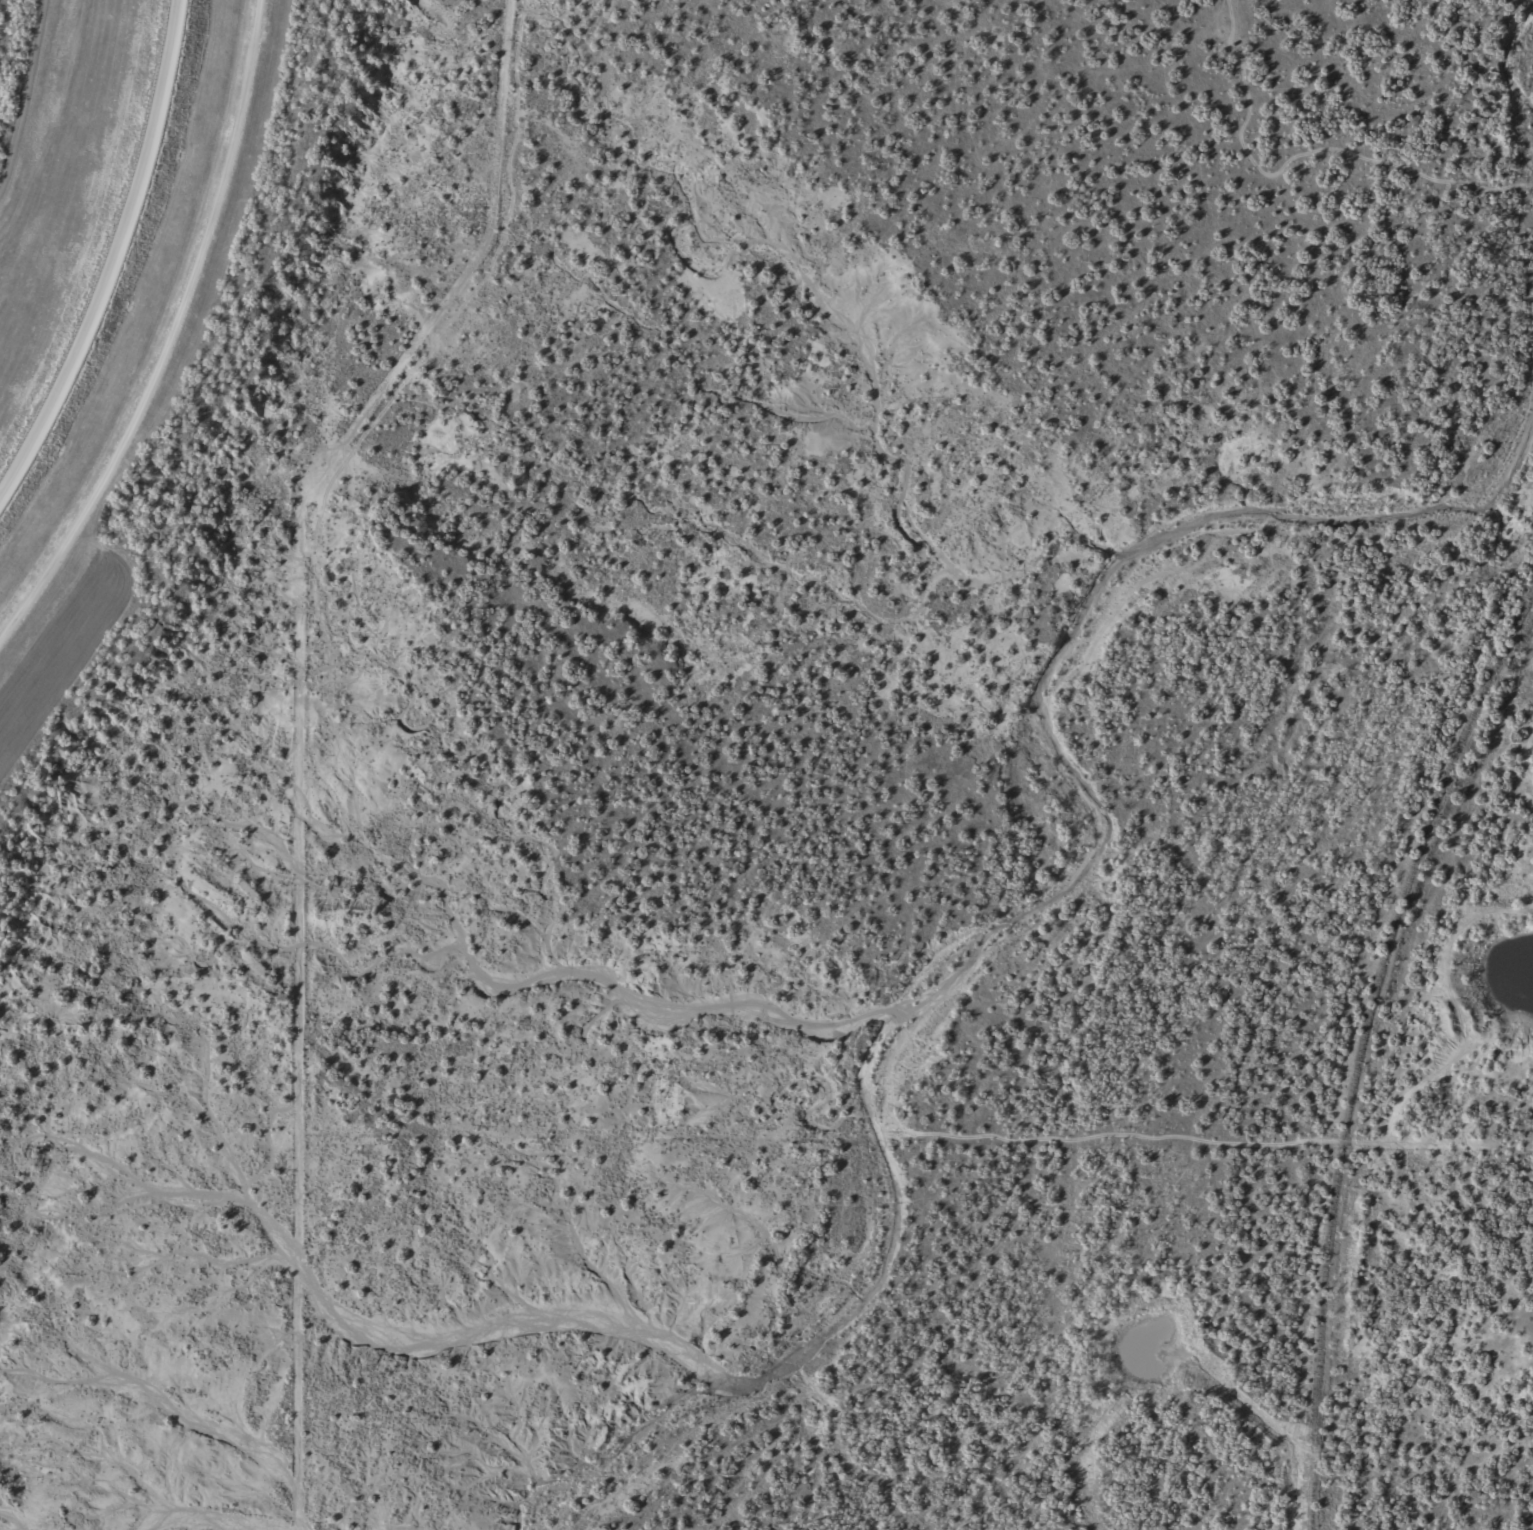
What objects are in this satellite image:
road: (136, 217)
road: (21, 453)
railway: (1368, 1043)
road: (1527, 1120)

